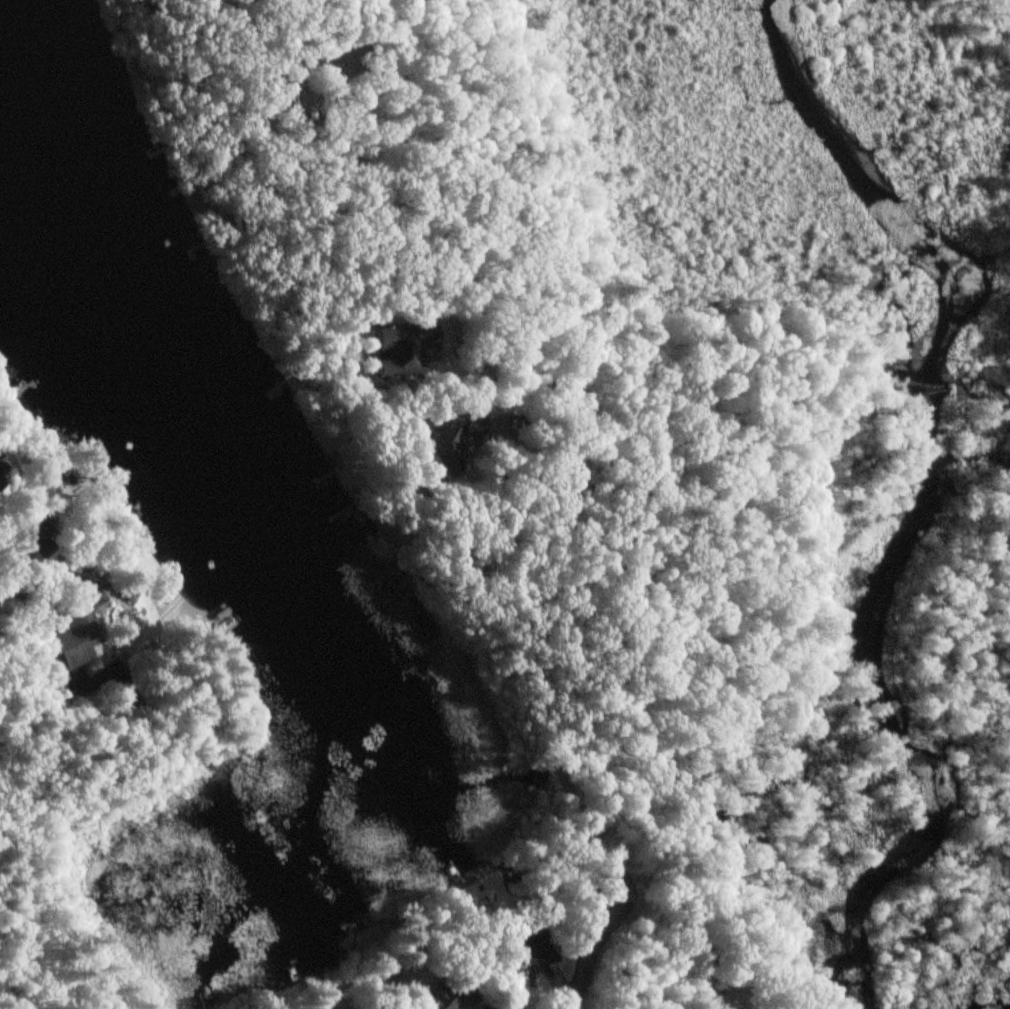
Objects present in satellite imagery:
building: (401, 351)
building: (454, 444)
road: (568, 497)
building: (22, 525)
building: (221, 620)
building: (69, 623)
road: (644, 937)
building: (524, 951)
building: (461, 996)
building: (431, 1000)

